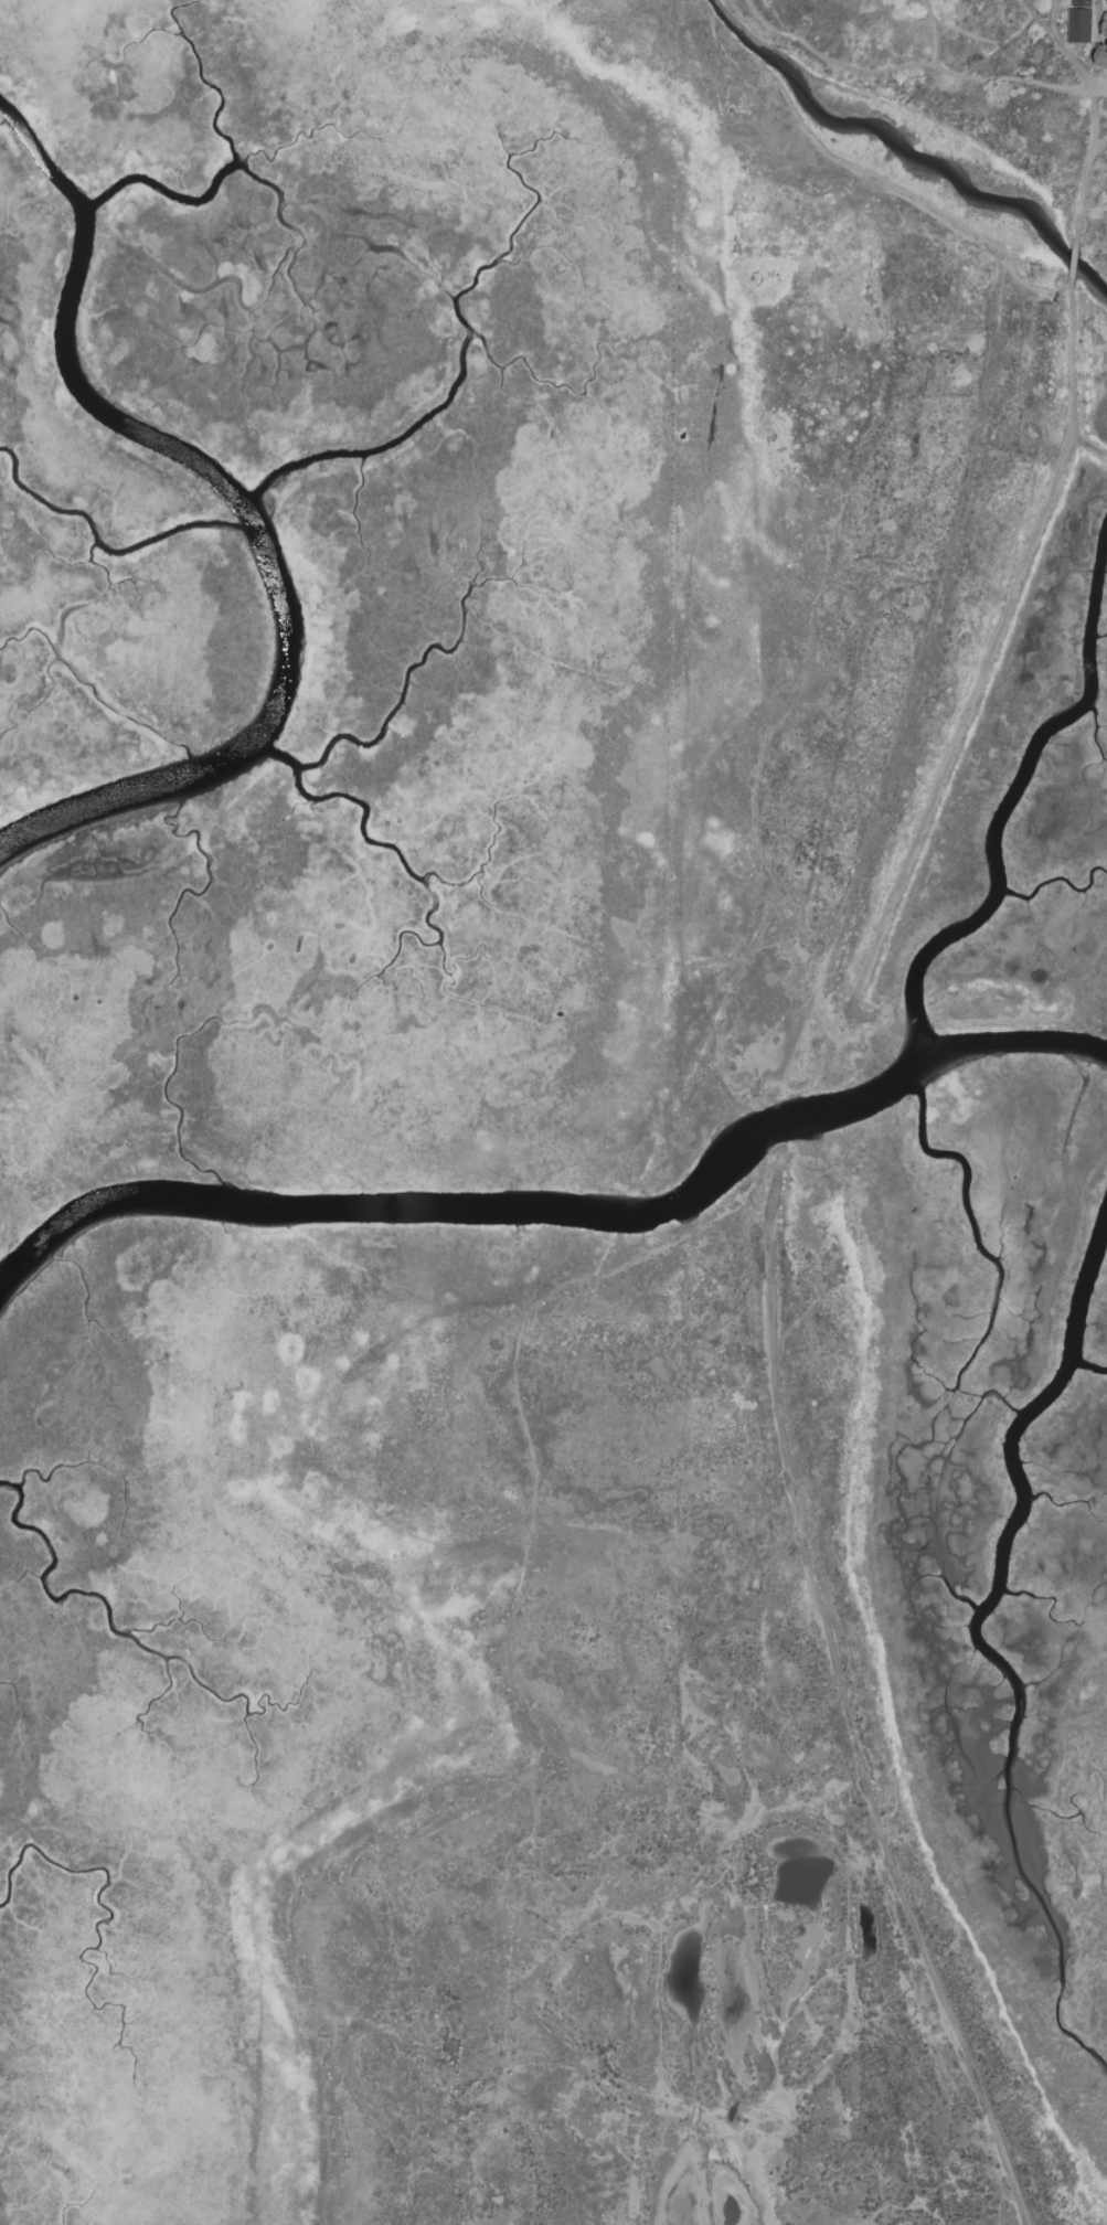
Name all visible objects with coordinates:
building: (1076, 21)
road: (990, 44)
road: (1064, 44)
building: (1106, 56)
road: (981, 63)
road: (860, 72)
road: (1015, 81)
road: (1103, 89)
road: (1101, 146)
river: (908, 150)
road: (1093, 167)
river: (171, 195)
road: (1072, 260)
river: (245, 515)
road: (992, 663)
river: (741, 1159)
road: (842, 1704)

